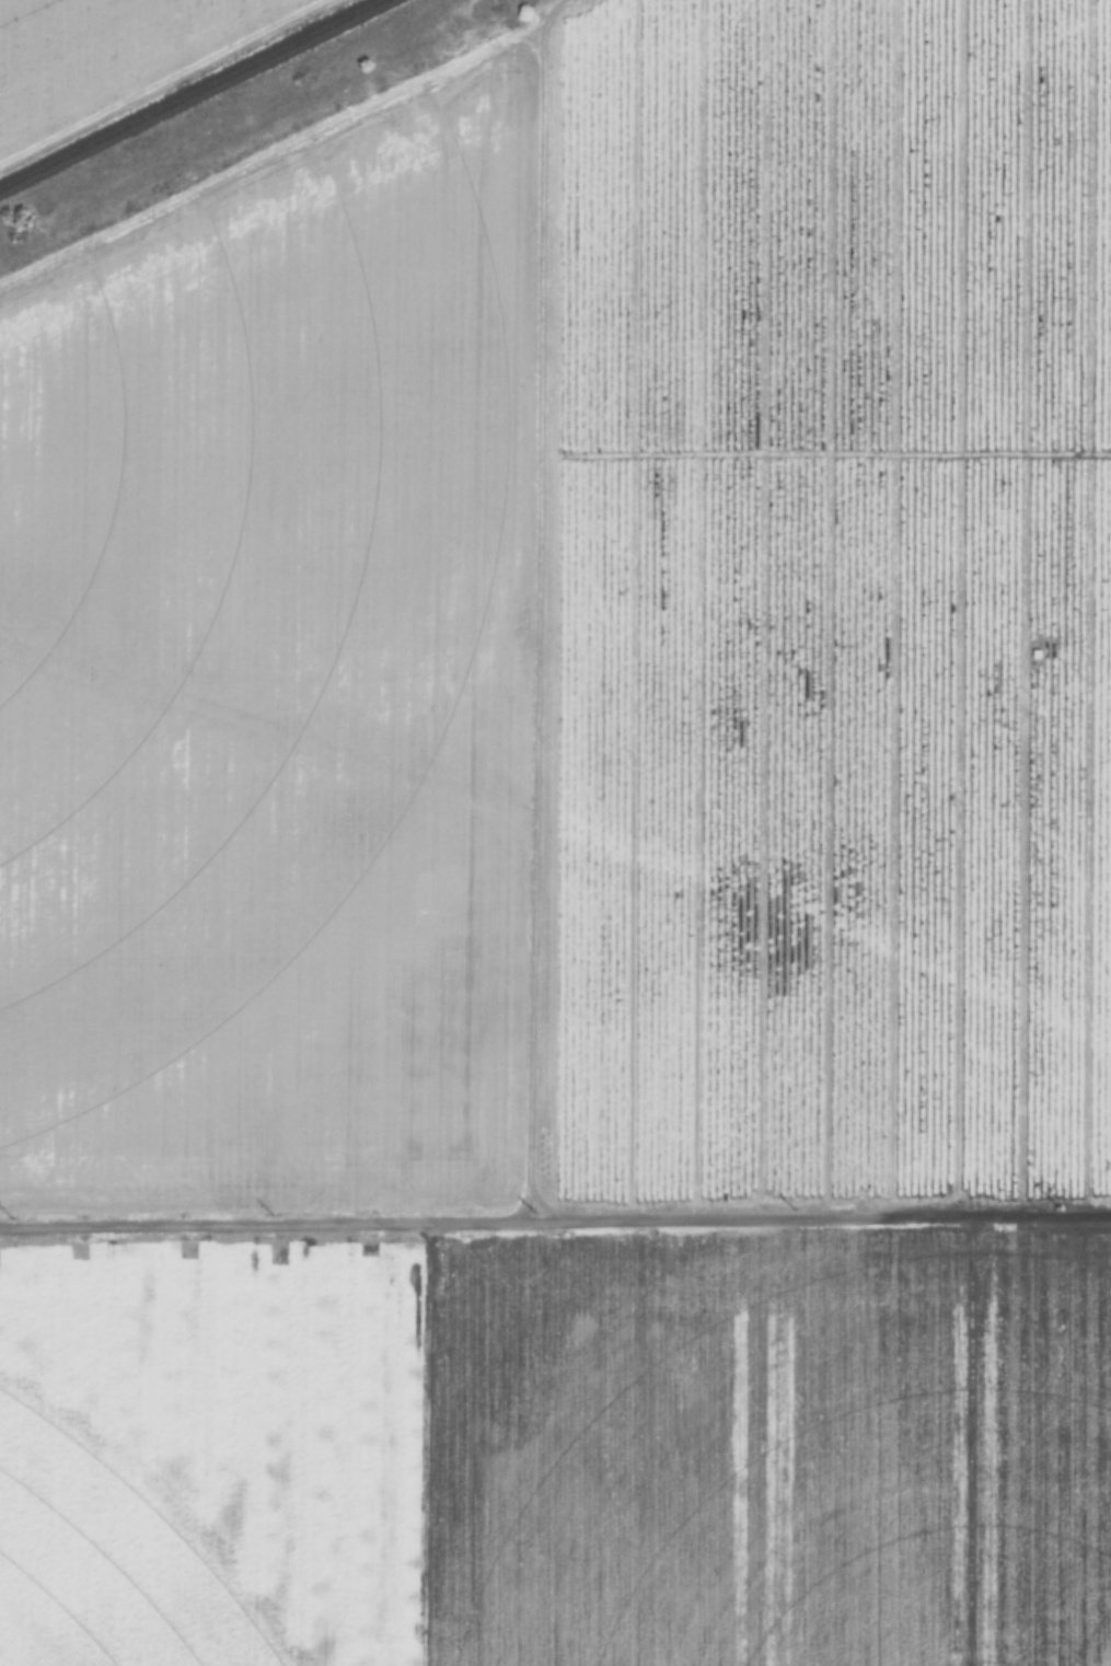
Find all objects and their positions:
crop: (106, 53)
railway: (192, 100)
road: (555, 1220)

